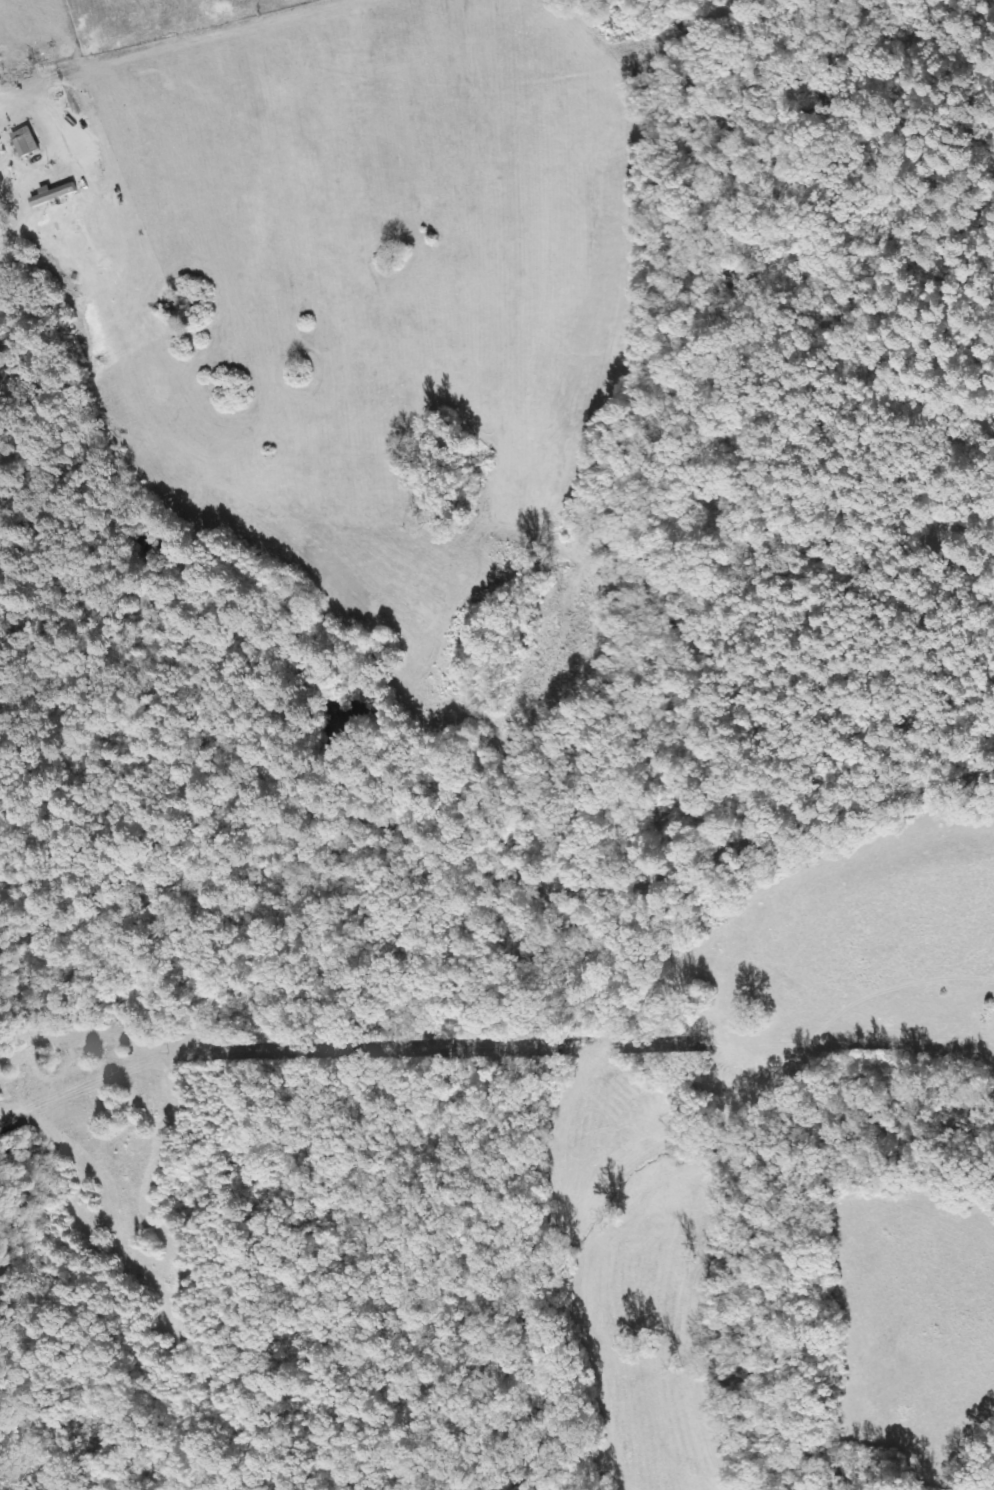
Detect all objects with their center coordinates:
building: (26, 142)
road: (487, 894)

